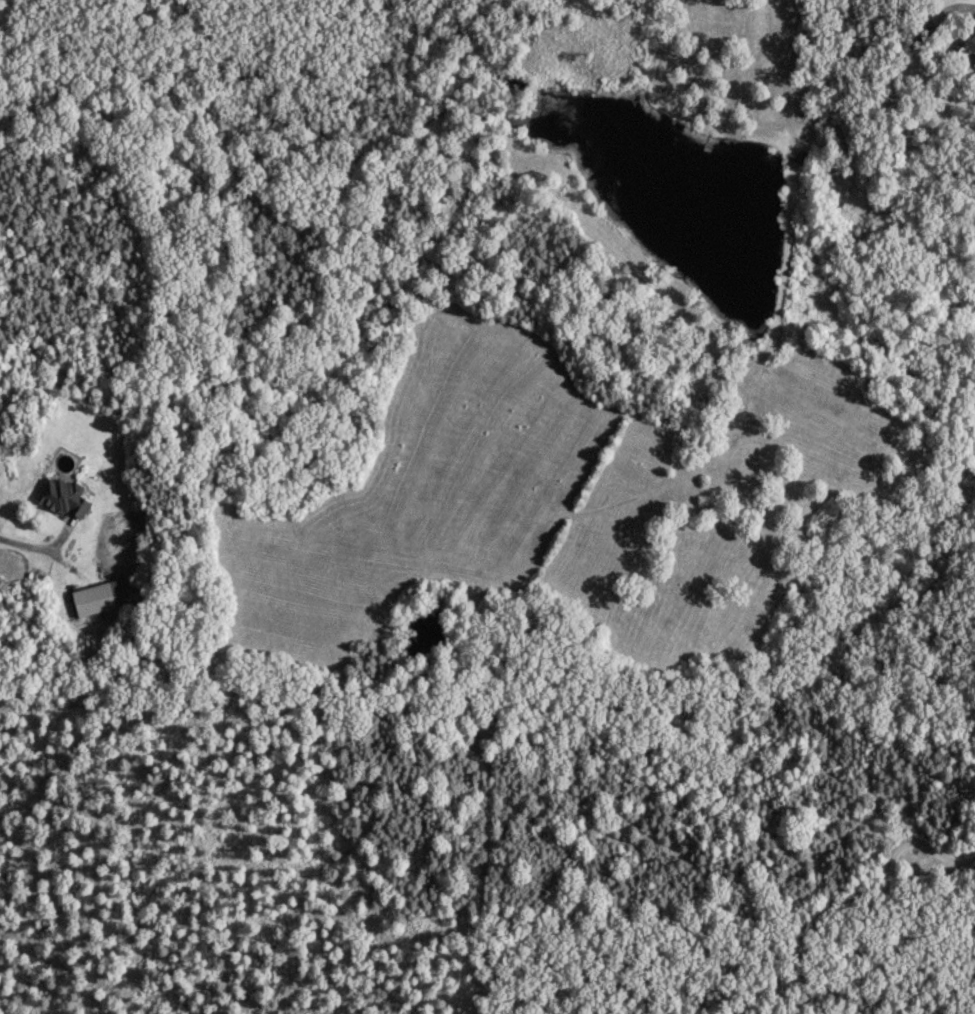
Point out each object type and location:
building: (928, 30)
building: (970, 38)
building: (973, 62)
building: (62, 494)
road: (36, 550)
building: (96, 595)

